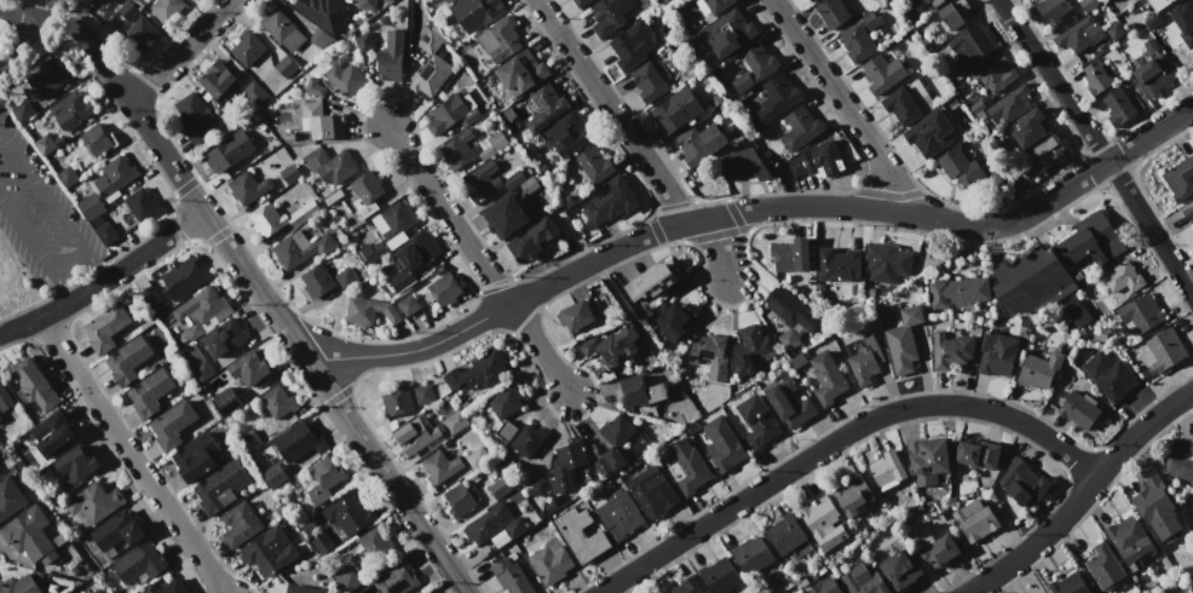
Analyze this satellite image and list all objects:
building: (189, 0)
building: (806, 0)
building: (446, 1)
building: (139, 2)
building: (580, 2)
building: (928, 4)
building: (1159, 4)
building: (365, 5)
building: (713, 5)
building: (167, 8)
building: (1050, 10)
building: (128, 11)
building: (323, 12)
building: (476, 12)
building: (831, 13)
building: (953, 13)
road: (81, 15)
building: (610, 16)
road: (45, 18)
building: (1185, 18)
park: (31, 30)
building: (282, 30)
building: (1114, 31)
building: (728, 33)
building: (139, 34)
building: (1079, 35)
building: (860, 36)
building: (319, 38)
building: (498, 40)
road: (16, 41)
building: (430, 41)
building: (976, 41)
building: (364, 42)
building: (629, 47)
building: (247, 48)
road: (181, 51)
building: (1192, 52)
building: (391, 57)
building: (345, 61)
road: (403, 65)
building: (754, 67)
building: (287, 69)
building: (1153, 70)
building: (520, 73)
building: (883, 73)
building: (995, 74)
building: (430, 76)
building: (46, 77)
building: (1095, 77)
building: (217, 79)
building: (344, 79)
building: (649, 82)
building: (315, 87)
building: (254, 92)
building: (780, 92)
road: (842, 103)
building: (1010, 103)
building: (546, 106)
building: (900, 106)
building: (1118, 106)
building: (71, 110)
building: (676, 110)
building: (22, 111)
building: (445, 114)
building: (255, 116)
building: (195, 119)
building: (321, 121)
building: (1028, 127)
building: (800, 128)
building: (571, 132)
building: (930, 133)
building: (288, 136)
building: (97, 139)
road: (635, 142)
building: (699, 143)
building: (45, 145)
building: (490, 145)
road: (1099, 146)
building: (457, 150)
building: (1048, 151)
building: (226, 152)
building: (822, 159)
building: (330, 165)
building: (594, 165)
building: (742, 165)
building: (796, 166)
building: (961, 168)
building: (290, 173)
building: (115, 175)
building: (67, 177)
building: (513, 179)
building: (1180, 179)
building: (482, 182)
building: (529, 185)
building: (367, 186)
building: (248, 188)
building: (290, 194)
building: (611, 201)
building: (142, 205)
road: (51, 206)
building: (90, 206)
building: (1188, 213)
road: (753, 214)
park: (41, 215)
parking lot: (41, 215)
building: (505, 215)
building: (281, 217)
building: (397, 223)
building: (105, 234)
building: (531, 240)
building: (301, 248)
road: (36, 249)
building: (374, 251)
building: (419, 251)
building: (790, 254)
road: (67, 260)
road: (482, 261)
building: (887, 261)
building: (837, 264)
building: (1053, 266)
building: (1123, 277)
building: (184, 278)
building: (345, 278)
road: (104, 280)
building: (402, 280)
building: (317, 281)
building: (651, 282)
building: (444, 289)
building: (958, 292)
building: (150, 296)
building: (408, 305)
road: (269, 306)
building: (790, 310)
building: (201, 311)
building: (368, 312)
building: (1141, 312)
building: (574, 316)
building: (672, 318)
building: (1025, 322)
building: (105, 328)
building: (225, 338)
building: (904, 340)
building: (611, 346)
building: (750, 349)
building: (1165, 349)
building: (951, 350)
building: (996, 353)
building: (710, 355)
building: (127, 359)
building: (865, 361)
building: (196, 363)
building: (249, 368)
building: (1039, 369)
building: (478, 372)
building: (826, 378)
building: (1111, 378)
building: (34, 385)
building: (639, 391)
building: (149, 392)
building: (423, 395)
building: (5, 398)
building: (227, 401)
building: (278, 402)
building: (398, 402)
building: (505, 402)
building: (789, 404)
building: (1078, 410)
building: (0, 418)
building: (455, 422)
building: (757, 422)
building: (172, 424)
building: (617, 431)
building: (506, 432)
building: (52, 434)
building: (414, 436)
road: (838, 438)
building: (249, 441)
building: (300, 441)
building: (528, 441)
building: (724, 445)
building: (978, 454)
building: (196, 456)
building: (477, 457)
road: (134, 459)
building: (927, 460)
building: (1180, 460)
building: (609, 461)
building: (566, 465)
building: (439, 466)
building: (686, 466)
building: (75, 467)
building: (888, 468)
building: (273, 476)
building: (469, 477)
building: (323, 478)
building: (1021, 482)
building: (219, 485)
building: (537, 487)
building: (498, 489)
building: (650, 493)
building: (852, 495)
road: (1082, 495)
building: (10, 499)
building: (459, 500)
building: (93, 505)
building: (1152, 506)
building: (352, 508)
building: (617, 513)
building: (819, 516)
building: (973, 519)
building: (240, 524)
building: (492, 526)
building: (117, 530)
building: (784, 534)
building: (580, 535)
building: (31, 536)
building: (1130, 540)
building: (373, 542)
building: (322, 543)
building: (939, 549)
building: (269, 551)
building: (751, 554)
building: (549, 562)
building: (138, 563)
building: (1103, 566)
building: (900, 570)
building: (719, 576)
building: (512, 577)
building: (346, 578)
building: (397, 580)
building: (863, 581)
road: (460, 583)
building: (19, 585)
building: (1068, 585)
building: (173, 587)
building: (686, 587)
building: (824, 587)
building: (300, 589)
building: (97, 591)
building: (143, 591)
building: (427, 592)

